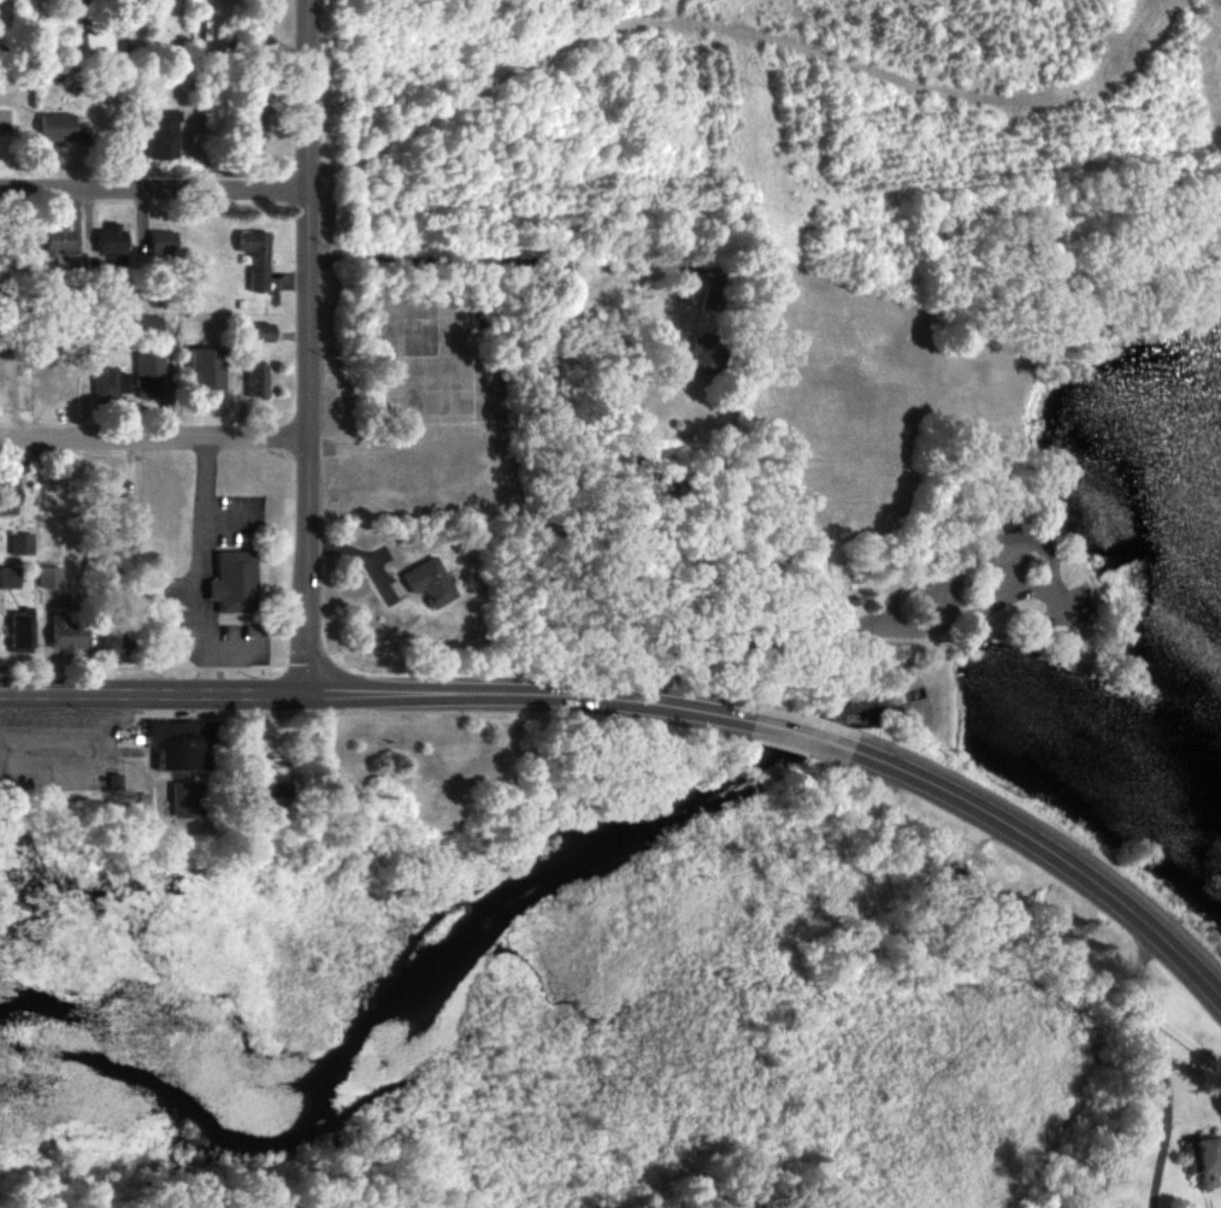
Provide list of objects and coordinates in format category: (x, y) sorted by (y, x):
building: (99, 46)
building: (60, 129)
building: (255, 134)
building: (164, 137)
road: (154, 189)
building: (59, 242)
building: (112, 243)
building: (164, 243)
building: (256, 259)
road: (499, 261)
building: (714, 301)
building: (149, 325)
building: (264, 334)
road: (307, 344)
building: (708, 353)
building: (208, 370)
building: (151, 377)
building: (258, 382)
building: (111, 384)
road: (154, 442)
building: (114, 488)
building: (10, 495)
building: (23, 544)
road: (200, 566)
building: (51, 578)
building: (10, 579)
building: (236, 583)
building: (430, 583)
road: (949, 621)
building: (23, 632)
building: (69, 635)
park: (901, 635)
building: (114, 643)
road: (235, 654)
road: (216, 670)
road: (151, 690)
road: (524, 693)
parking lot: (55, 731)
road: (803, 735)
road: (47, 742)
building: (183, 744)
park: (370, 758)
road: (94, 776)
building: (188, 801)
road: (1054, 856)
park: (702, 1041)
road: (1149, 1066)
building: (1204, 1161)

